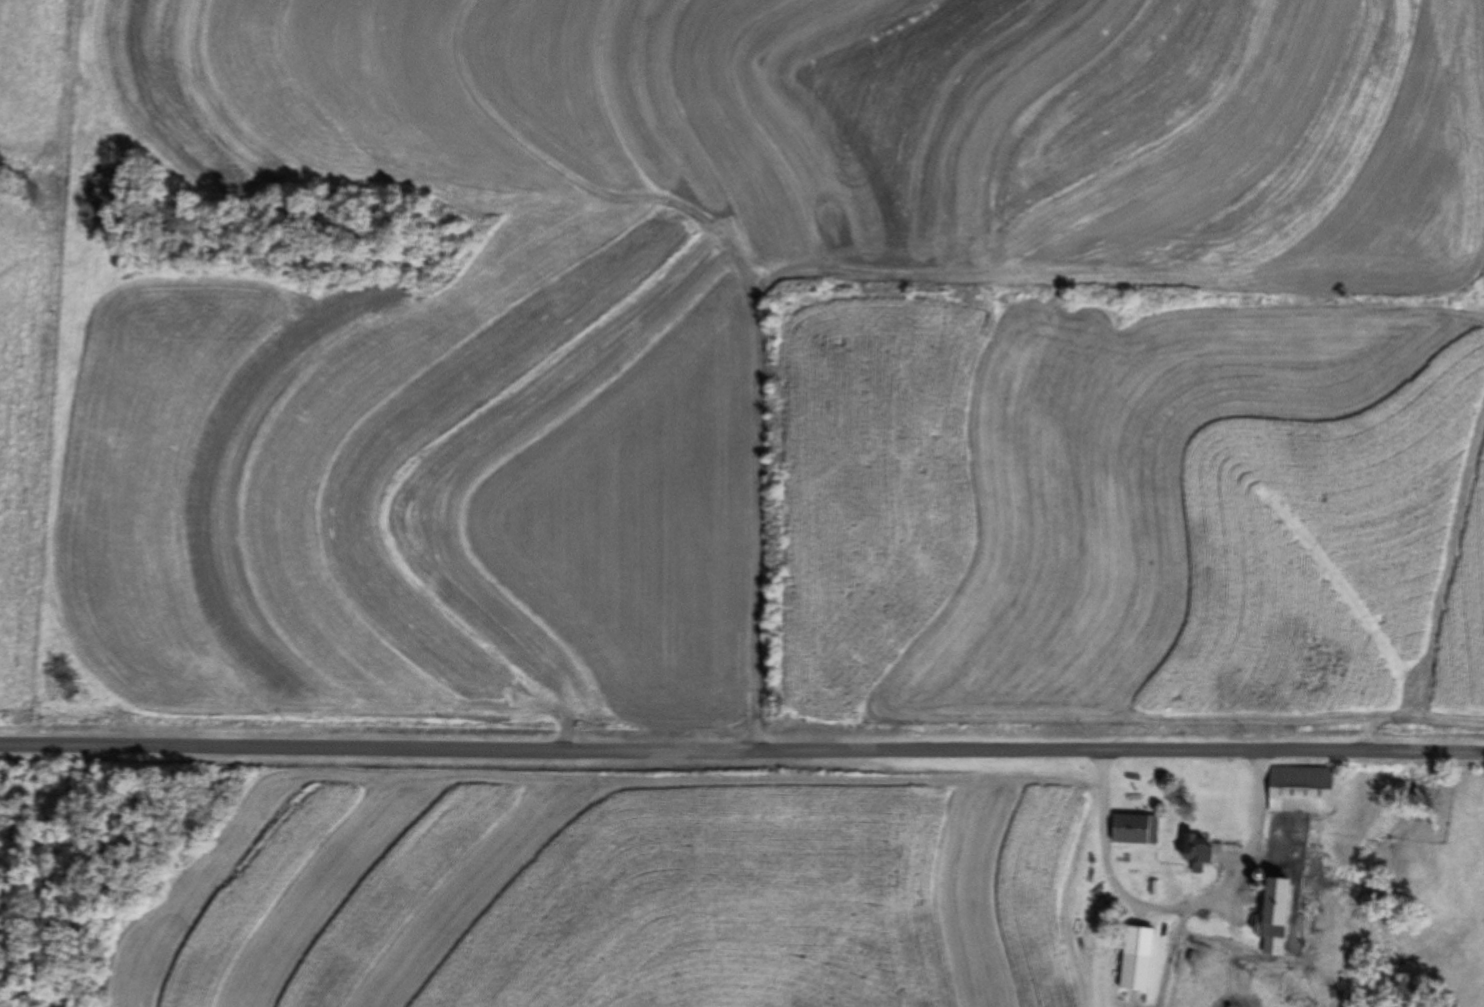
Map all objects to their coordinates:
road: (741, 749)
building: (1300, 789)
building: (1133, 829)
building: (1193, 852)
building: (1272, 911)
building: (1137, 959)

